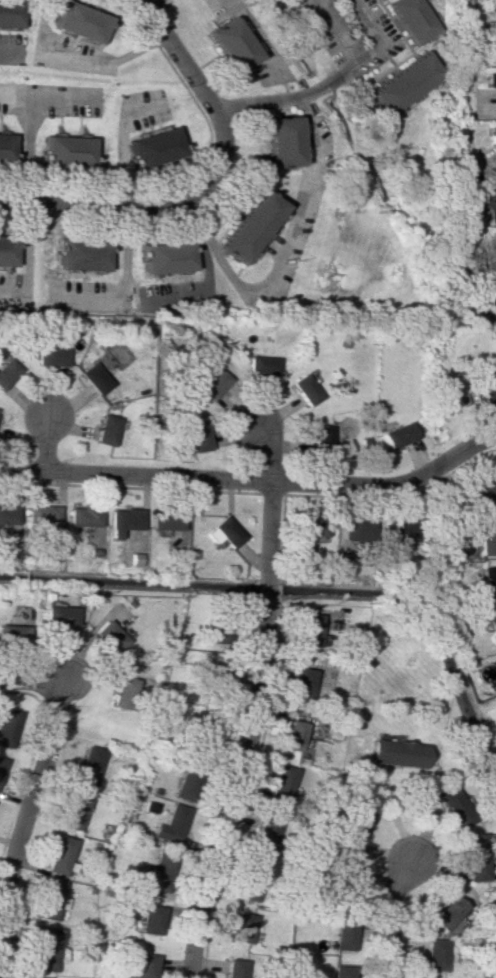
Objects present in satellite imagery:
road: (149, 3)
building: (11, 13)
building: (412, 20)
building: (82, 22)
road: (337, 31)
building: (495, 35)
road: (378, 36)
road: (255, 37)
building: (232, 45)
road: (11, 50)
road: (178, 53)
road: (82, 55)
road: (356, 63)
building: (491, 80)
building: (402, 84)
road: (16, 95)
road: (289, 99)
road: (32, 115)
road: (124, 137)
building: (281, 142)
building: (494, 144)
building: (155, 146)
building: (6, 147)
building: (68, 152)
building: (490, 196)
road: (147, 204)
building: (470, 210)
building: (250, 227)
building: (7, 250)
building: (82, 254)
road: (24, 257)
building: (166, 257)
road: (224, 270)
building: (488, 281)
road: (123, 285)
building: (52, 355)
building: (263, 365)
building: (7, 372)
building: (95, 378)
building: (214, 383)
building: (306, 389)
building: (484, 393)
building: (105, 430)
building: (196, 435)
building: (396, 435)
building: (321, 438)
road: (46, 441)
road: (270, 449)
road: (135, 471)
road: (388, 483)
building: (486, 491)
building: (41, 515)
building: (8, 517)
building: (82, 517)
building: (165, 520)
building: (122, 521)
building: (398, 531)
building: (223, 532)
building: (309, 533)
building: (487, 539)
building: (488, 582)
building: (58, 616)
building: (492, 626)
building: (308, 630)
building: (12, 634)
building: (109, 636)
building: (213, 637)
road: (36, 679)
building: (303, 684)
building: (128, 690)
building: (6, 727)
road: (250, 732)
building: (294, 735)
building: (397, 753)
building: (1, 764)
building: (89, 765)
building: (282, 784)
building: (185, 785)
road: (34, 795)
building: (452, 805)
building: (74, 810)
building: (173, 825)
building: (269, 830)
building: (354, 830)
building: (60, 855)
building: (472, 857)
building: (253, 879)
building: (347, 884)
building: (49, 899)
building: (448, 914)
road: (391, 916)
building: (150, 920)
building: (242, 927)
building: (345, 936)
building: (46, 948)
building: (435, 955)
building: (144, 965)
building: (236, 968)
building: (343, 971)
building: (35, 977)

